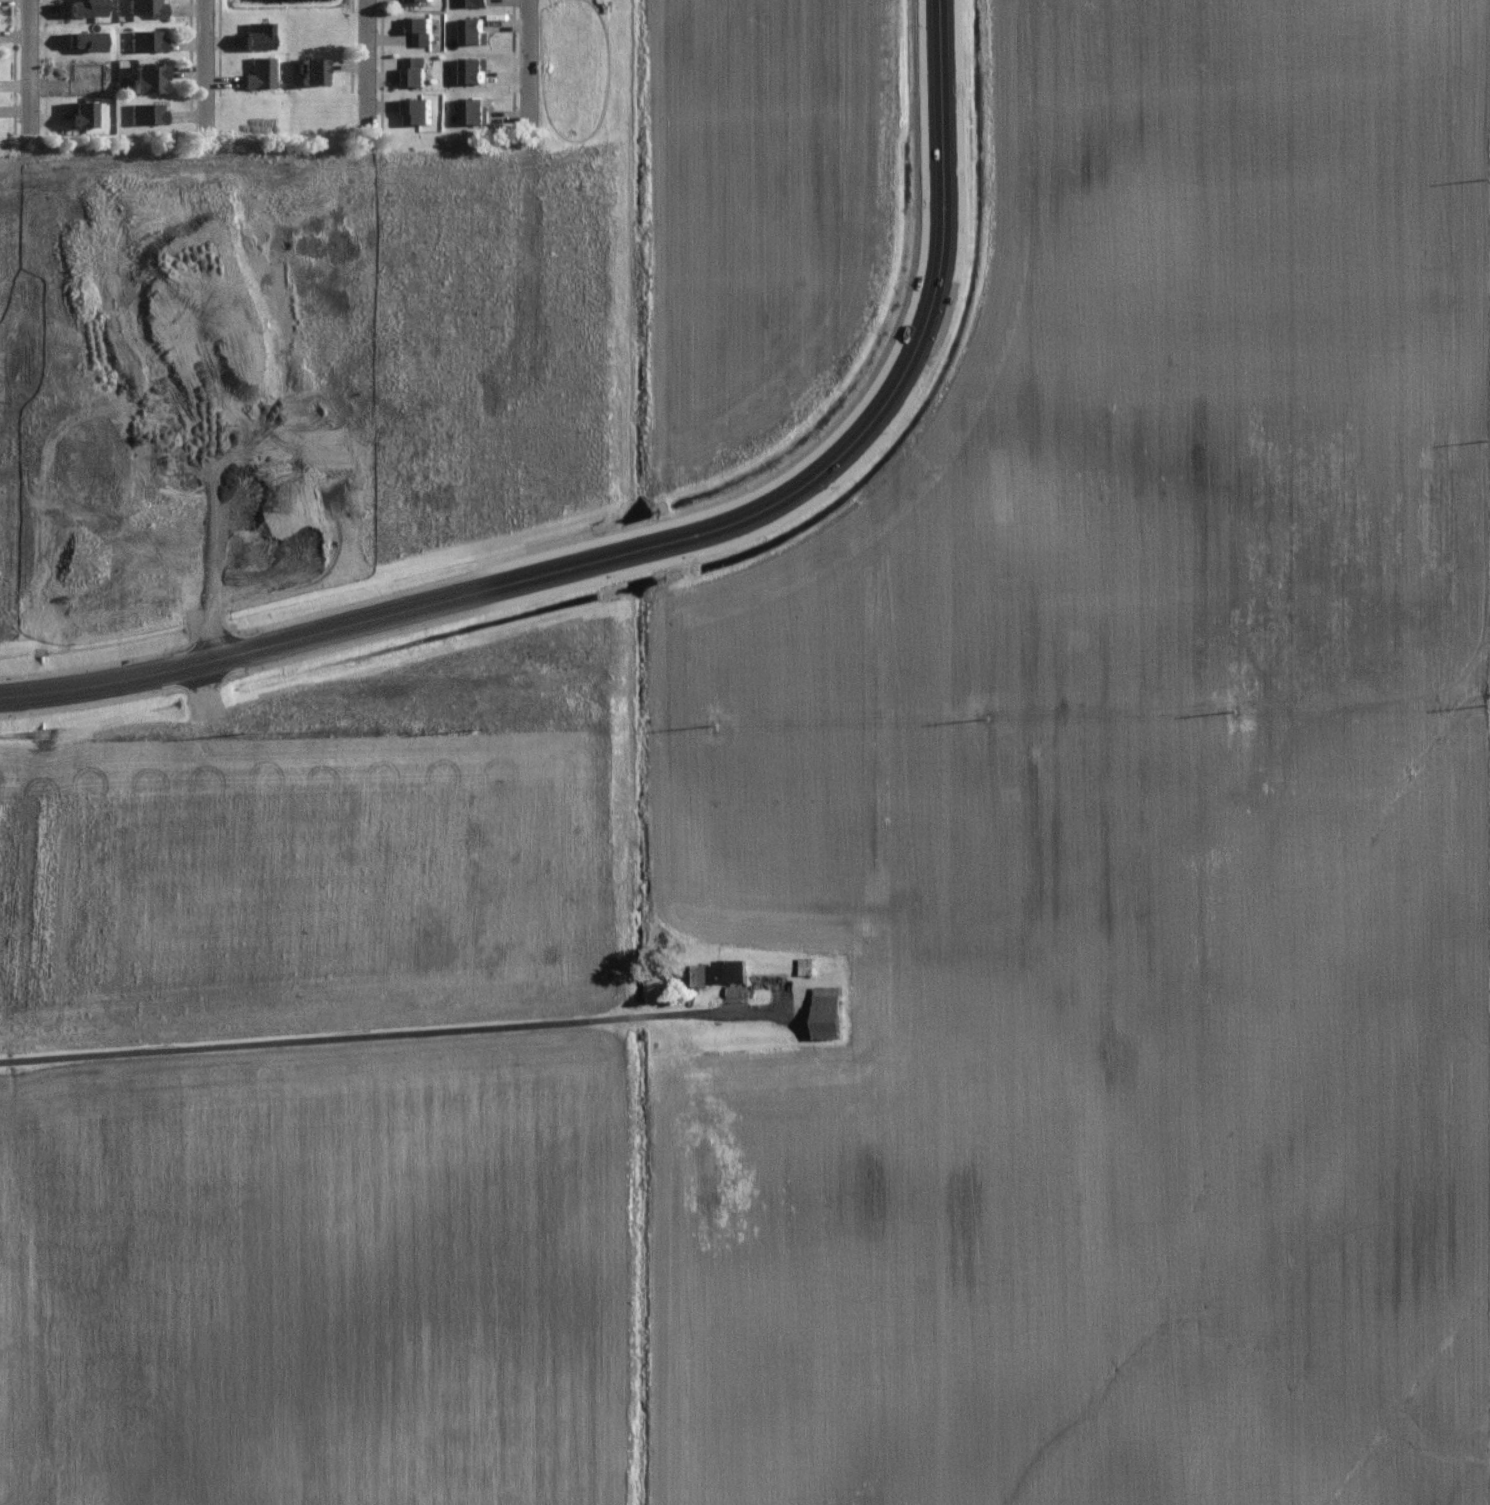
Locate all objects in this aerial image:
building: (411, 1)
building: (472, 1)
building: (84, 6)
building: (147, 6)
building: (419, 27)
building: (474, 28)
building: (256, 33)
building: (86, 38)
building: (145, 38)
road: (538, 58)
road: (376, 61)
road: (39, 62)
building: (474, 67)
building: (312, 68)
building: (415, 68)
building: (259, 71)
road: (214, 72)
building: (147, 75)
building: (418, 108)
building: (473, 108)
building: (80, 111)
building: (146, 111)
road: (662, 541)
building: (806, 963)
building: (718, 969)
building: (828, 1009)
road: (422, 1031)

